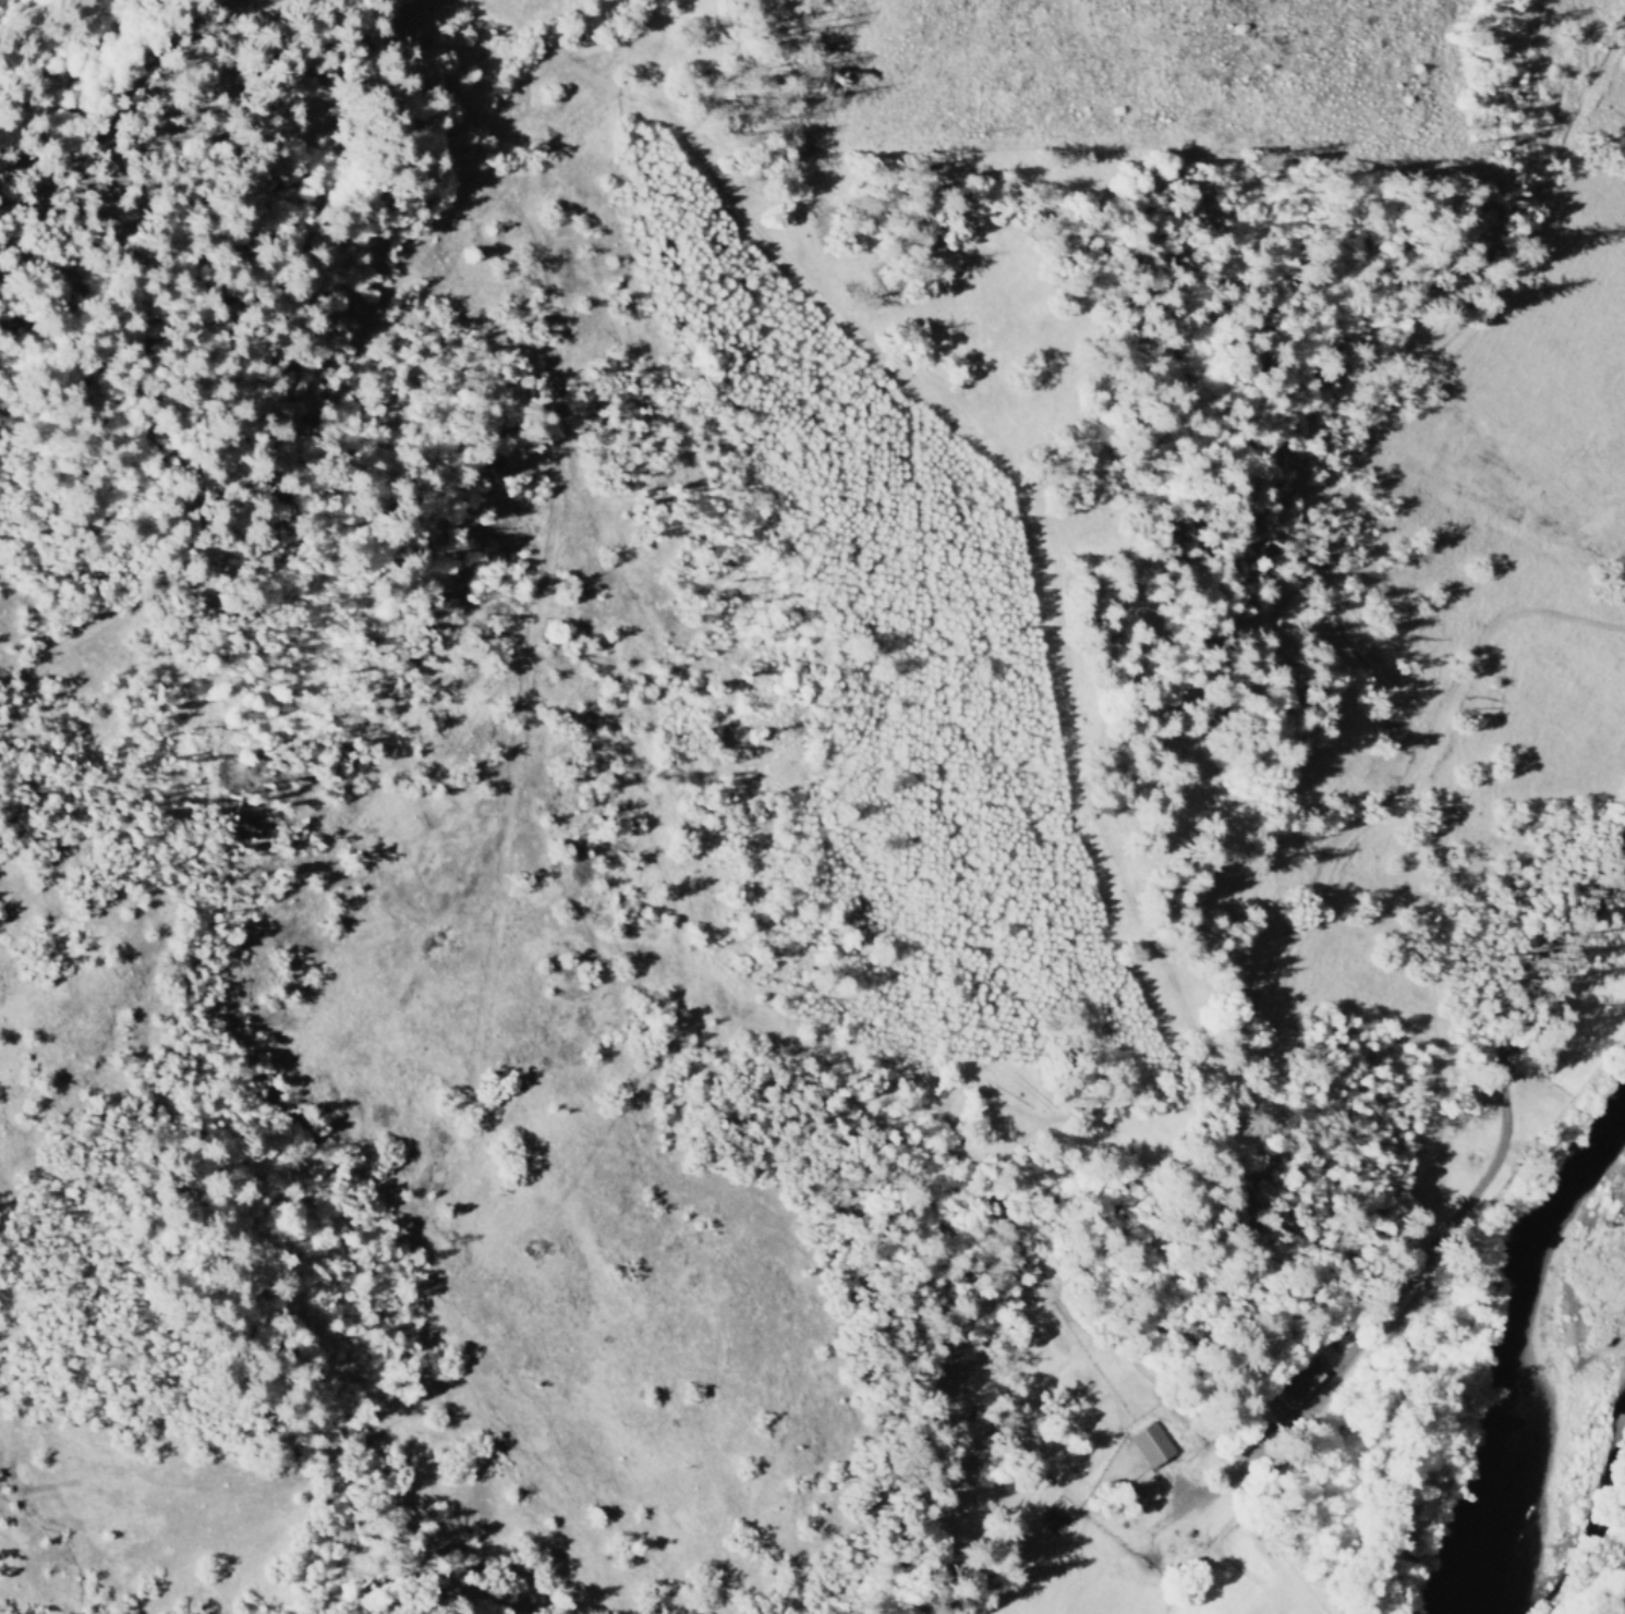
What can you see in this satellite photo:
building: (1147, 1443)
river: (1527, 1448)

